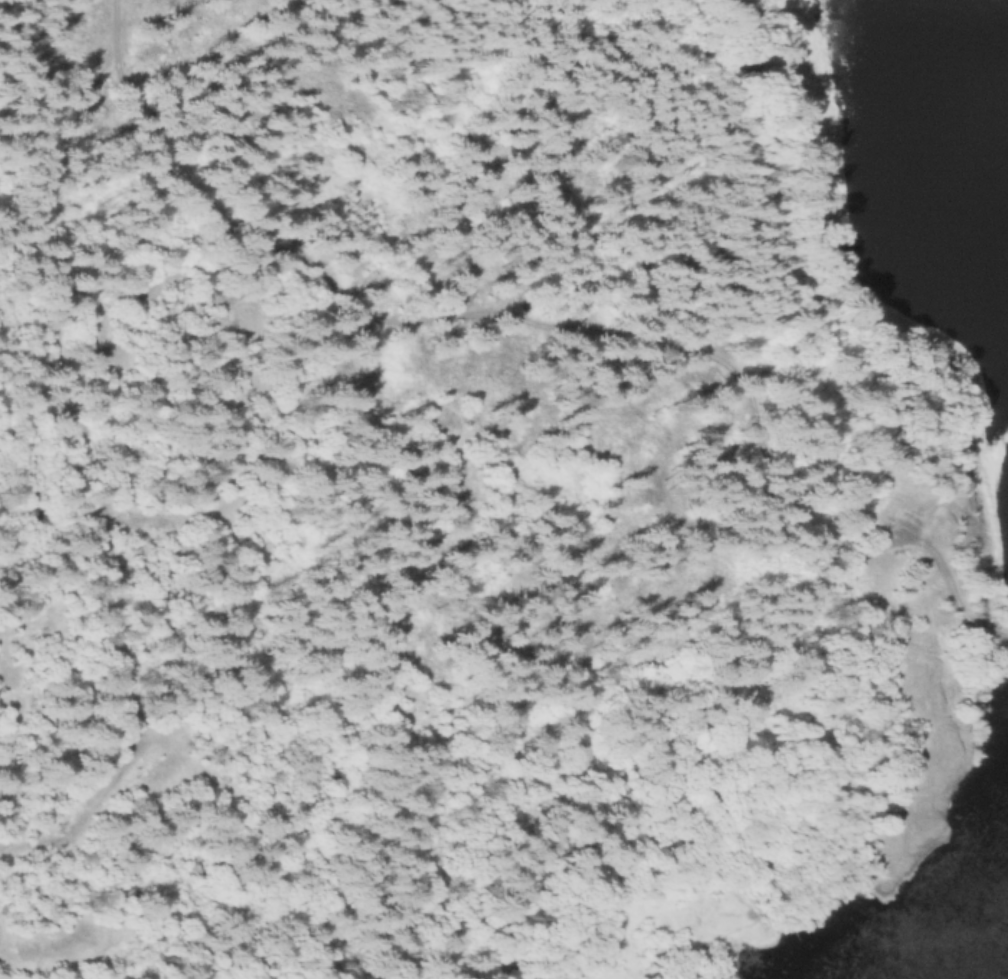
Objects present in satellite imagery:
road: (422, 306)
road: (735, 372)

